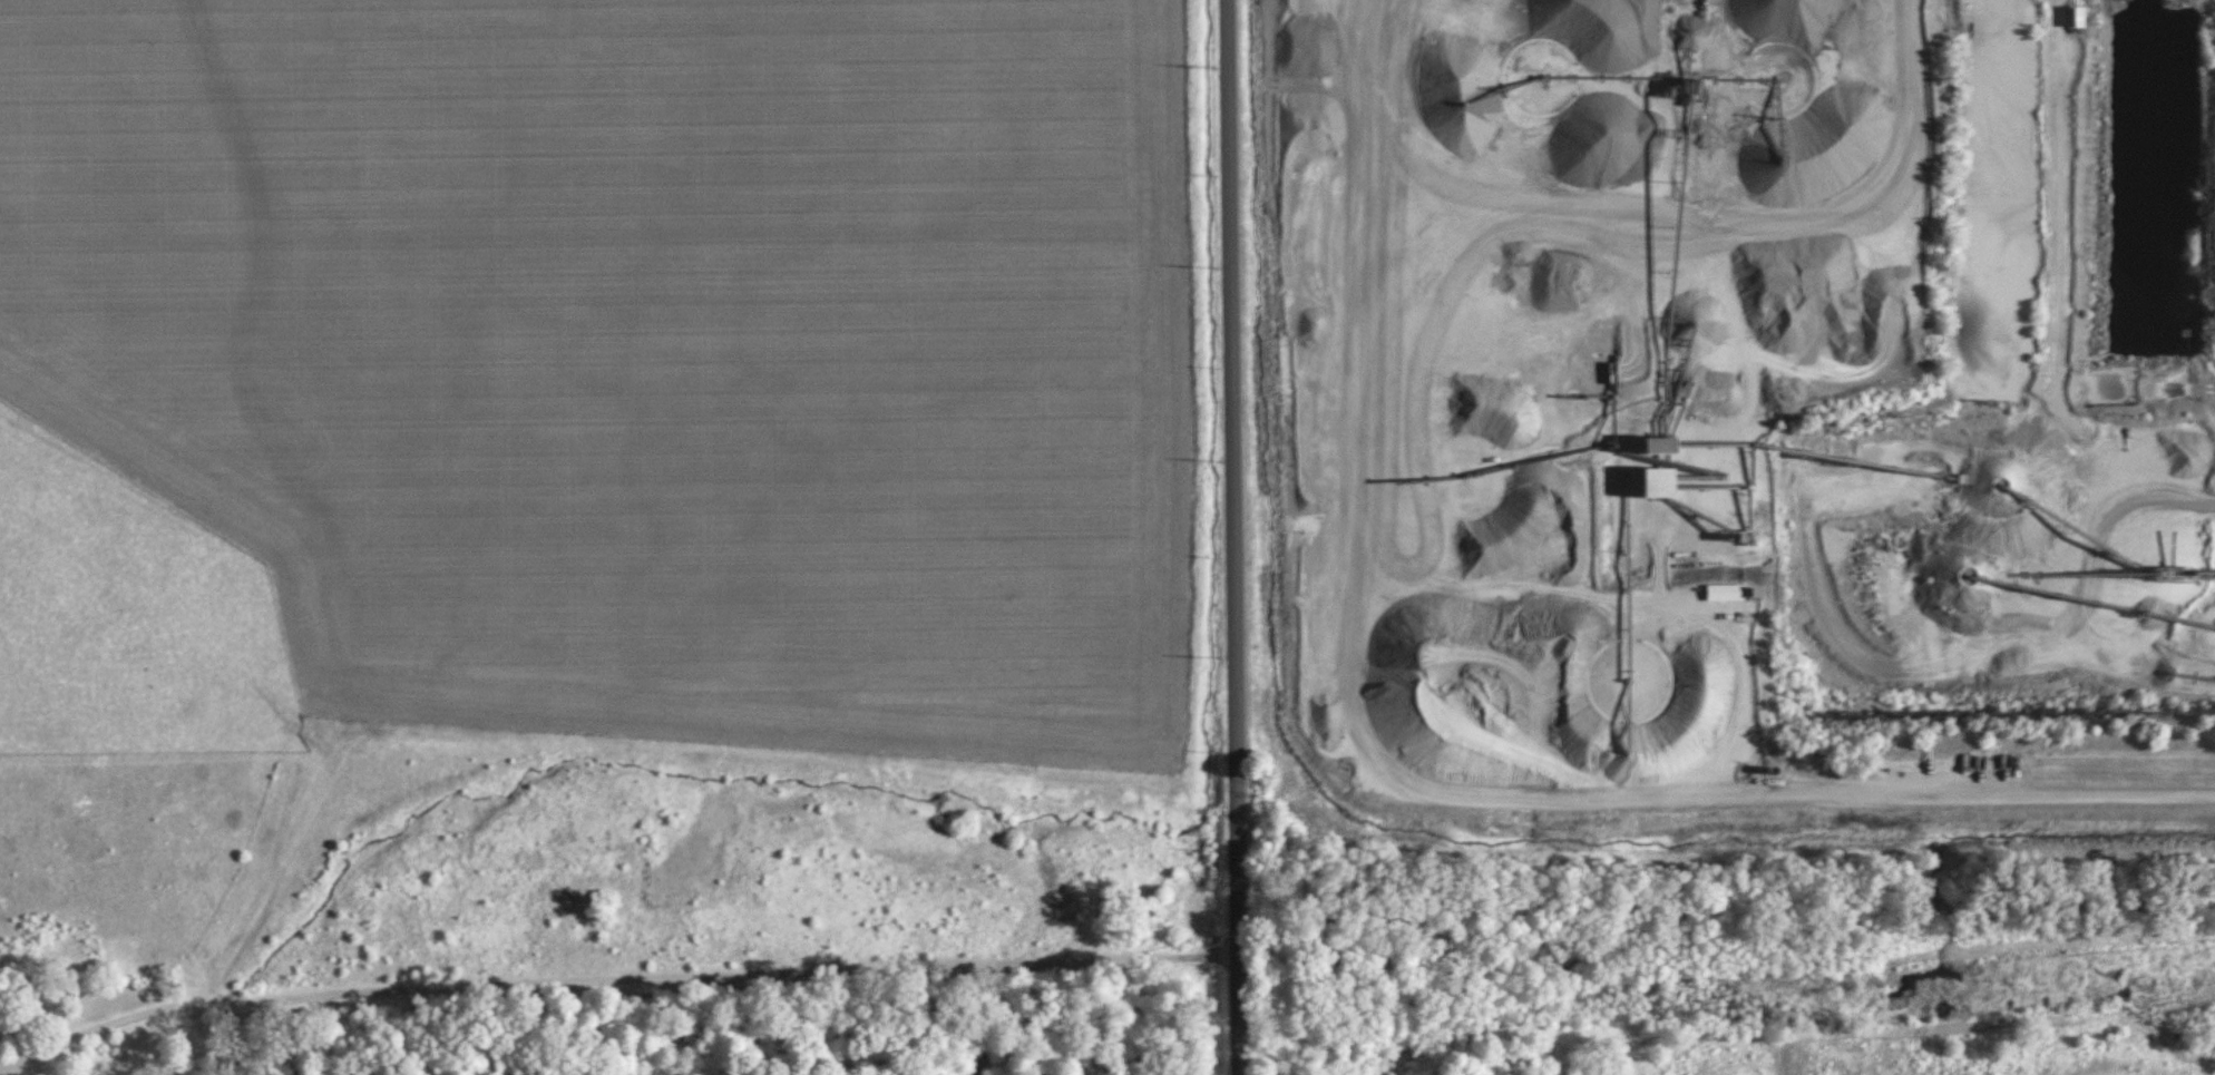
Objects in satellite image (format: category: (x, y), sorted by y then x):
quarry: (1874, 410)
building: (1661, 482)
road: (1228, 537)
building: (1726, 593)
road: (611, 975)

